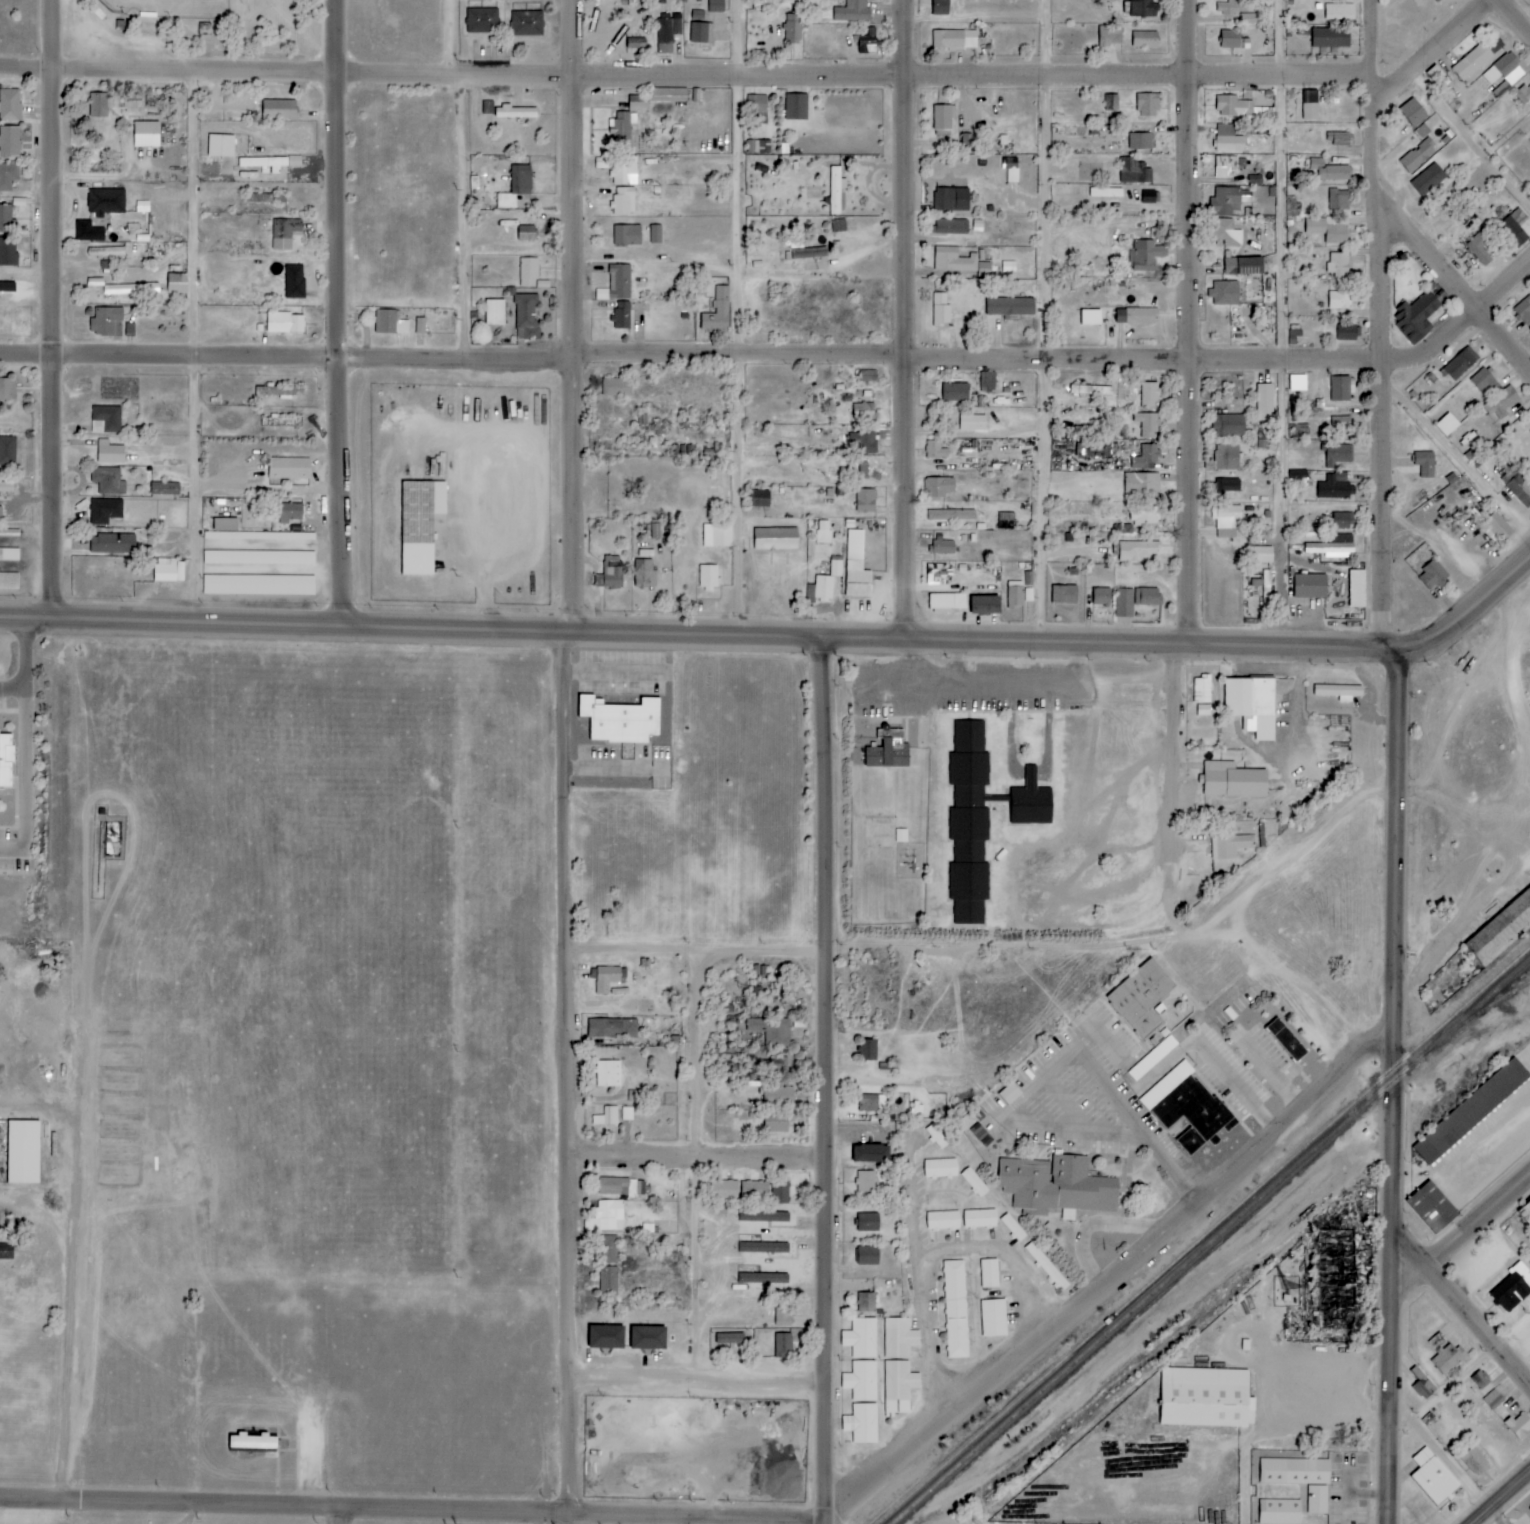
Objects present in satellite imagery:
building: (1439, 0)
building: (716, 6)
building: (940, 7)
building: (1144, 8)
building: (852, 11)
building: (1237, 11)
building: (1339, 12)
building: (697, 14)
road: (1516, 15)
building: (482, 21)
building: (527, 24)
building: (793, 26)
building: (668, 33)
building: (701, 33)
building: (1110, 35)
building: (1330, 38)
building: (954, 39)
road: (1377, 39)
building: (1144, 40)
building: (867, 42)
road: (1442, 53)
building: (1472, 62)
building: (1503, 75)
building: (1437, 76)
road: (689, 81)
road: (1379, 90)
building: (1523, 94)
building: (667, 95)
building: (638, 102)
building: (1111, 102)
building: (1310, 104)
building: (10, 105)
building: (99, 105)
building: (1147, 105)
building: (796, 107)
building: (757, 109)
building: (279, 110)
building: (1243, 111)
building: (515, 112)
building: (1413, 112)
building: (941, 120)
building: (621, 130)
building: (1423, 131)
building: (145, 134)
building: (1338, 138)
building: (1227, 139)
road: (1474, 140)
building: (1141, 141)
building: (9, 143)
building: (220, 145)
building: (762, 146)
building: (1418, 156)
building: (269, 164)
building: (1225, 166)
building: (1011, 169)
building: (623, 170)
building: (1329, 171)
building: (1135, 172)
building: (8, 176)
building: (1428, 179)
road: (468, 181)
building: (516, 187)
building: (834, 191)
building: (265, 198)
building: (951, 199)
building: (1338, 199)
building: (1231, 200)
building: (105, 202)
building: (623, 203)
building: (6, 220)
building: (1516, 223)
building: (950, 227)
building: (1328, 229)
building: (88, 232)
building: (1226, 232)
building: (284, 233)
building: (525, 233)
building: (655, 234)
building: (627, 235)
building: (1479, 249)
building: (8, 252)
building: (105, 252)
building: (809, 253)
building: (1146, 255)
road: (860, 259)
building: (959, 262)
building: (1338, 264)
building: (106, 265)
building: (1243, 266)
building: (528, 272)
building: (294, 282)
building: (176, 283)
building: (617, 284)
road: (1456, 286)
building: (130, 289)
building: (1224, 294)
building: (1338, 300)
building: (1010, 307)
road: (52, 309)
building: (941, 310)
building: (1523, 311)
road: (347, 312)
building: (494, 312)
building: (717, 312)
building: (622, 315)
building: (526, 316)
building: (1136, 316)
building: (1090, 317)
building: (1416, 317)
road: (744, 319)
road: (910, 320)
building: (106, 322)
road: (1051, 322)
building: (285, 323)
building: (389, 323)
road: (1197, 323)
road: (1281, 325)
building: (420, 326)
building: (1346, 332)
road: (193, 349)
road: (782, 357)
building: (1461, 364)
building: (868, 375)
road: (1385, 377)
building: (1482, 380)
building: (987, 381)
building: (1297, 383)
building: (616, 387)
building: (1342, 388)
building: (7, 389)
building: (1091, 391)
building: (279, 392)
building: (955, 392)
building: (1149, 395)
building: (1264, 402)
building: (1501, 404)
building: (863, 411)
building: (105, 420)
building: (281, 421)
building: (971, 422)
building: (1147, 425)
building: (1229, 425)
building: (1447, 425)
building: (1341, 426)
building: (1299, 431)
building: (867, 441)
building: (935, 450)
building: (1096, 450)
building: (7, 451)
building: (110, 454)
building: (1337, 455)
building: (1146, 457)
building: (1226, 457)
building: (1484, 457)
road: (1459, 458)
building: (1425, 464)
building: (288, 468)
building: (866, 471)
building: (107, 481)
building: (1142, 483)
building: (1229, 485)
building: (6, 487)
building: (939, 487)
building: (1334, 487)
building: (1519, 487)
building: (164, 489)
building: (759, 499)
building: (865, 501)
building: (104, 511)
building: (289, 513)
building: (0, 515)
building: (951, 515)
building: (1145, 516)
building: (1228, 521)
building: (1341, 521)
building: (419, 525)
building: (1494, 531)
building: (228, 535)
building: (717, 536)
building: (823, 538)
building: (775, 539)
building: (112, 544)
building: (1334, 547)
building: (943, 548)
building: (1137, 551)
building: (646, 555)
building: (1260, 555)
building: (856, 567)
building: (836, 569)
building: (168, 570)
building: (644, 574)
building: (939, 575)
building: (1433, 576)
building: (708, 577)
building: (614, 578)
building: (8, 581)
building: (258, 585)
building: (1309, 587)
building: (821, 589)
building: (1357, 589)
building: (1266, 590)
building: (1014, 595)
building: (1064, 595)
building: (1101, 597)
building: (1147, 597)
building: (947, 602)
building: (1124, 603)
building: (984, 606)
road: (285, 624)
road: (1066, 645)
road: (36, 673)
building: (1202, 689)
building: (1339, 691)
building: (1252, 704)
road: (1022, 707)
building: (1203, 710)
road: (1455, 717)
building: (621, 721)
building: (969, 736)
road: (1526, 750)
building: (888, 751)
road: (568, 756)
building: (5, 761)
road: (58, 770)
building: (1233, 780)
building: (1030, 801)
building: (969, 804)
building: (901, 835)
building: (1229, 846)
building: (968, 891)
road: (1094, 906)
road: (1242, 909)
building: (1500, 928)
road: (694, 955)
building: (607, 978)
building: (1142, 996)
railway: (1481, 1010)
building: (612, 1028)
building: (772, 1031)
building: (1286, 1040)
building: (868, 1050)
building: (775, 1065)
building: (607, 1073)
road: (1248, 1079)
road: (824, 1082)
road: (1391, 1086)
building: (1010, 1094)
building: (634, 1096)
building: (777, 1096)
building: (872, 1103)
building: (937, 1104)
building: (1187, 1110)
building: (1470, 1111)
road: (25, 1113)
building: (607, 1117)
road: (1141, 1117)
building: (775, 1122)
building: (981, 1135)
building: (936, 1136)
building: (22, 1152)
road: (912, 1152)
building: (870, 1153)
road: (695, 1159)
building: (941, 1167)
road: (704, 1169)
building: (866, 1182)
building: (974, 1182)
building: (1057, 1186)
building: (621, 1187)
building: (723, 1189)
building: (754, 1190)
building: (780, 1191)
road: (35, 1192)
building: (1431, 1207)
building: (1525, 1213)
building: (606, 1217)
building: (760, 1218)
building: (943, 1218)
building: (981, 1218)
building: (867, 1223)
building: (1012, 1228)
railway: (1203, 1235)
railway: (1210, 1241)
road: (1467, 1241)
building: (763, 1247)
building: (608, 1249)
building: (867, 1256)
road: (1012, 1256)
building: (989, 1273)
building: (755, 1276)
road: (1116, 1280)
building: (608, 1282)
building: (1513, 1287)
building: (866, 1302)
road: (74, 1303)
building: (955, 1309)
building: (783, 1315)
building: (994, 1316)
road: (1480, 1329)
building: (860, 1336)
building: (898, 1336)
building: (606, 1337)
building: (647, 1337)
building: (729, 1338)
road: (936, 1338)
building: (783, 1344)
building: (1446, 1355)
building: (861, 1379)
building: (1481, 1379)
building: (899, 1380)
road: (696, 1382)
road: (1462, 1386)
road: (1286, 1391)
building: (1206, 1397)
building: (1494, 1399)
building: (862, 1422)
building: (1518, 1423)
building: (251, 1442)
building: (1475, 1461)
road: (1455, 1463)
building: (1434, 1476)
building: (1299, 1478)
road: (1500, 1498)
road: (413, 1508)
building: (1278, 1512)
road: (336, 1515)
road: (1496, 1516)
road: (569, 1518)

